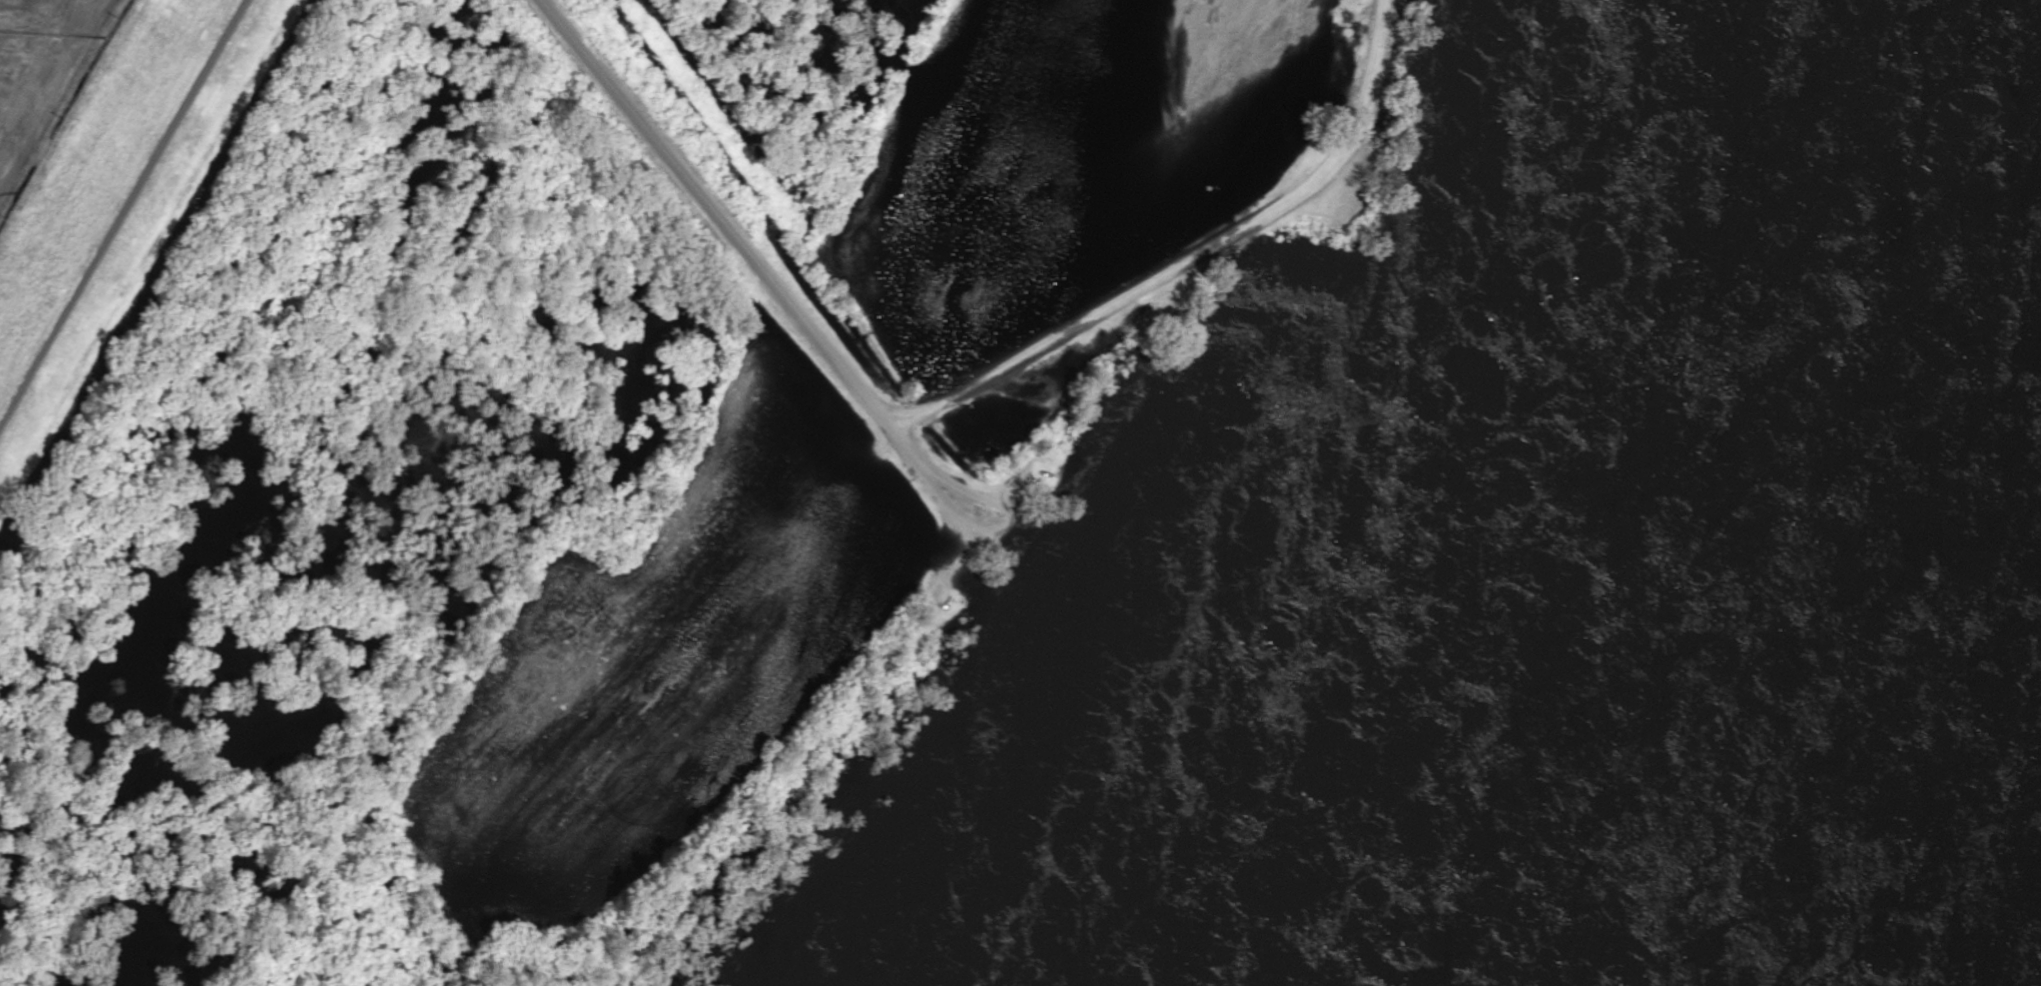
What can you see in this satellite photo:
road: (124, 214)
road: (1195, 257)
road: (805, 326)
river: (1835, 493)

